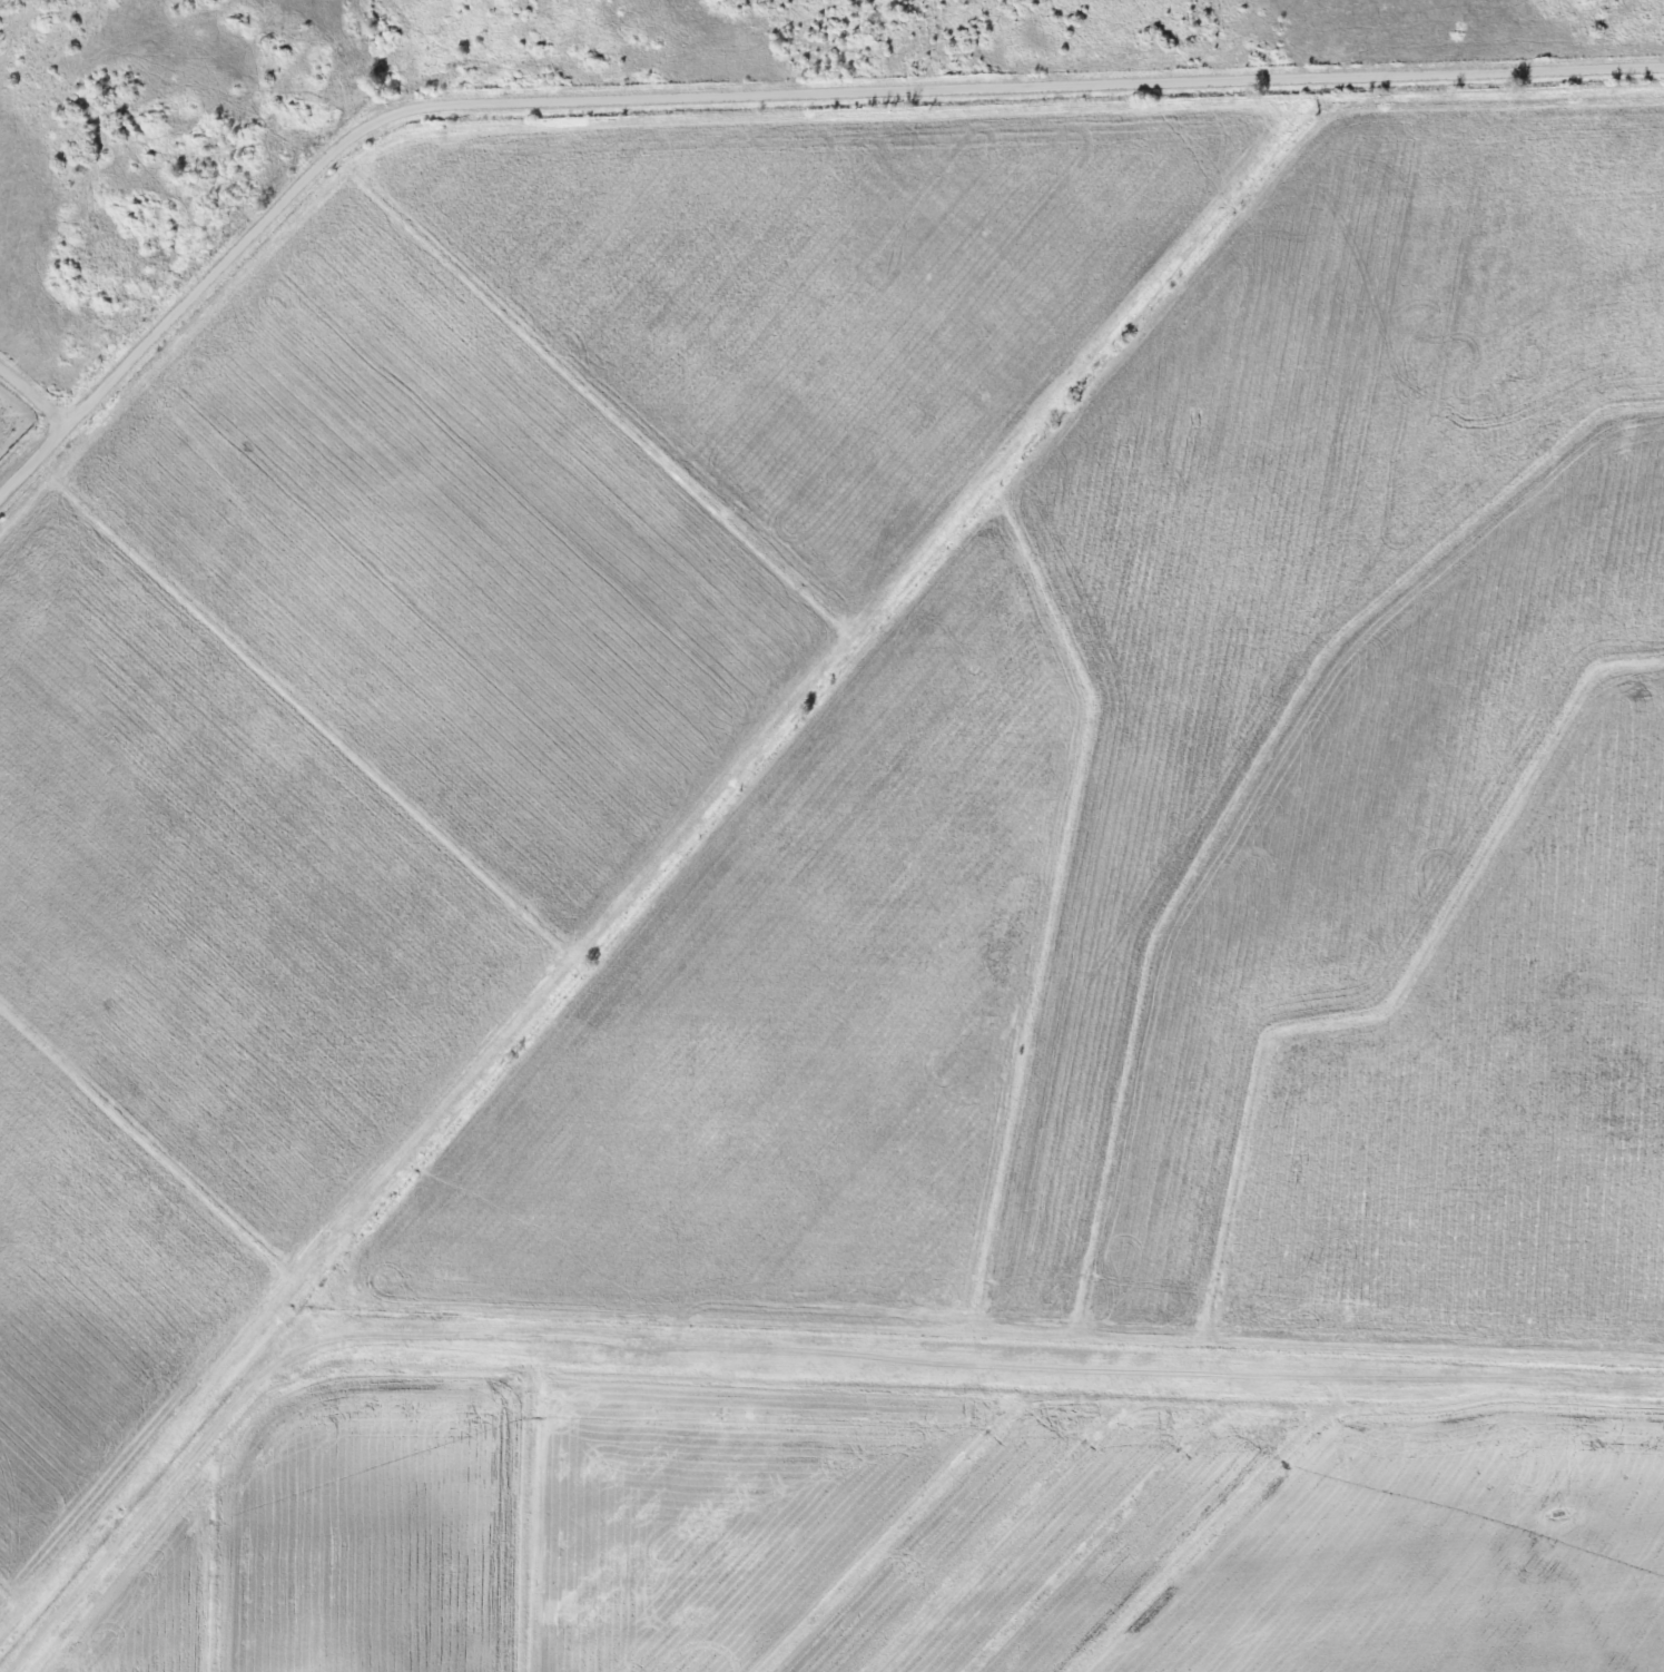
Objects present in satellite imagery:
road: (801, 90)
road: (32, 394)
road: (32, 458)

